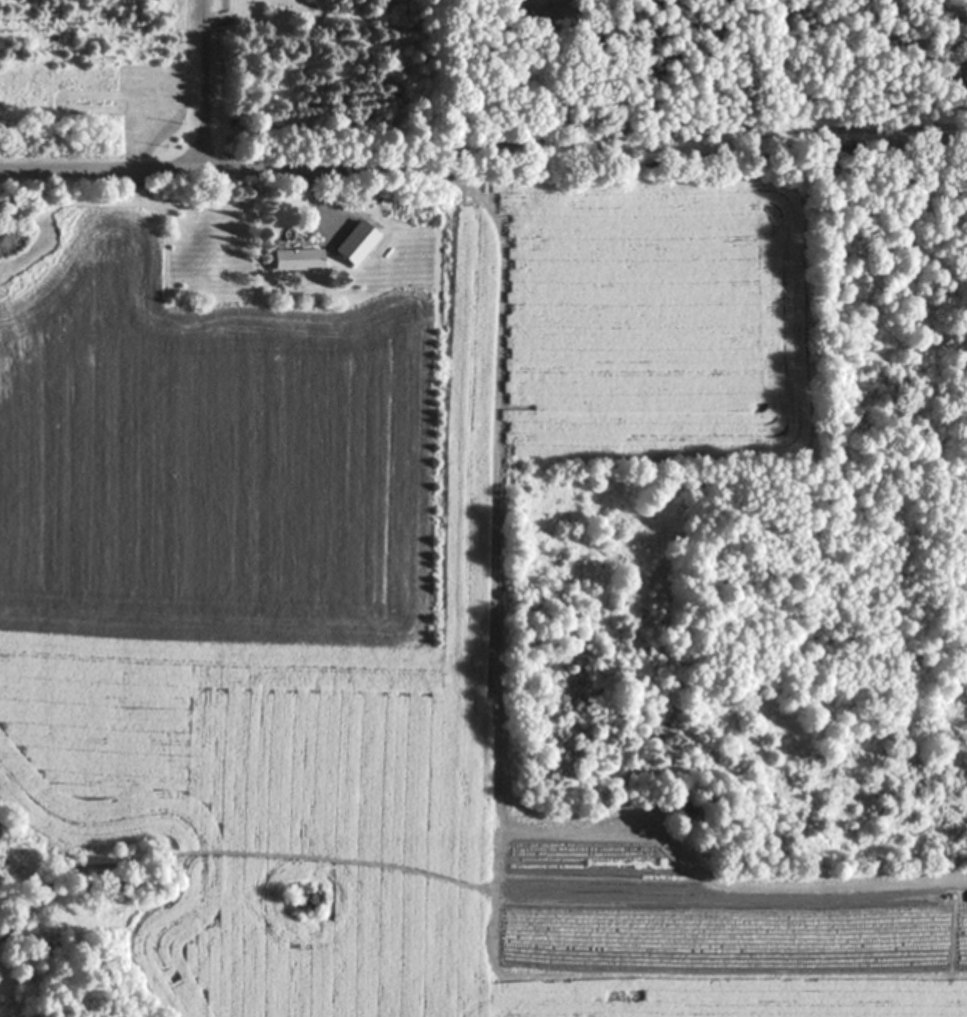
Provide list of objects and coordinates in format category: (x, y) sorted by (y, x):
road: (224, 166)
building: (356, 245)
building: (296, 261)

